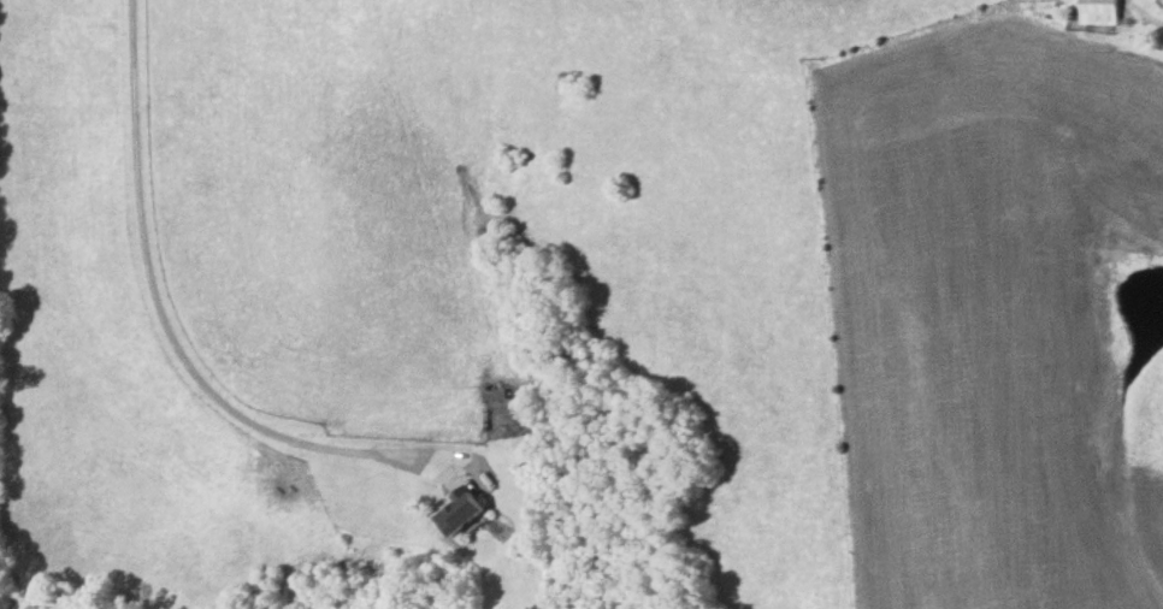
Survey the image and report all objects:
building: (1100, 12)
road: (1150, 23)
road: (228, 400)
building: (456, 509)

